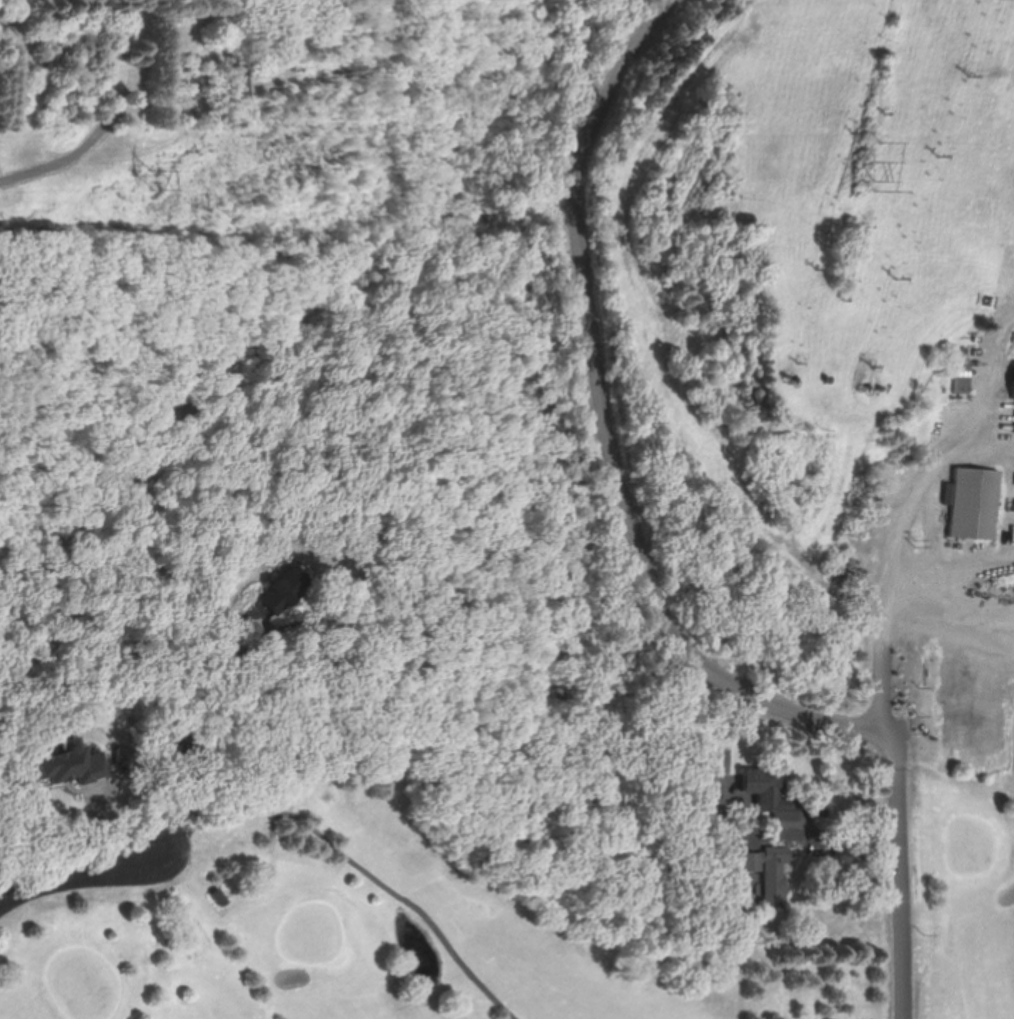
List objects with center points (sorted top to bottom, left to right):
aerialway pylon: (962, 76)
aerialway pylon: (847, 132)
aerialway pylon: (933, 157)
power tower: (876, 186)
power tower: (158, 206)
aerialway pylon: (809, 268)
aerialway pylon: (888, 278)
ski resort: (834, 283)
road: (995, 358)
aerialway pylon: (782, 359)
road: (603, 437)
road: (984, 444)
building: (974, 503)
road: (905, 560)
road: (958, 570)
building: (280, 592)
road: (965, 643)
road: (1006, 672)
road: (209, 751)
building: (68, 764)
building: (761, 792)
road: (819, 833)
building: (765, 871)
road: (78, 874)
road: (900, 878)
park: (357, 914)
park: (975, 916)

